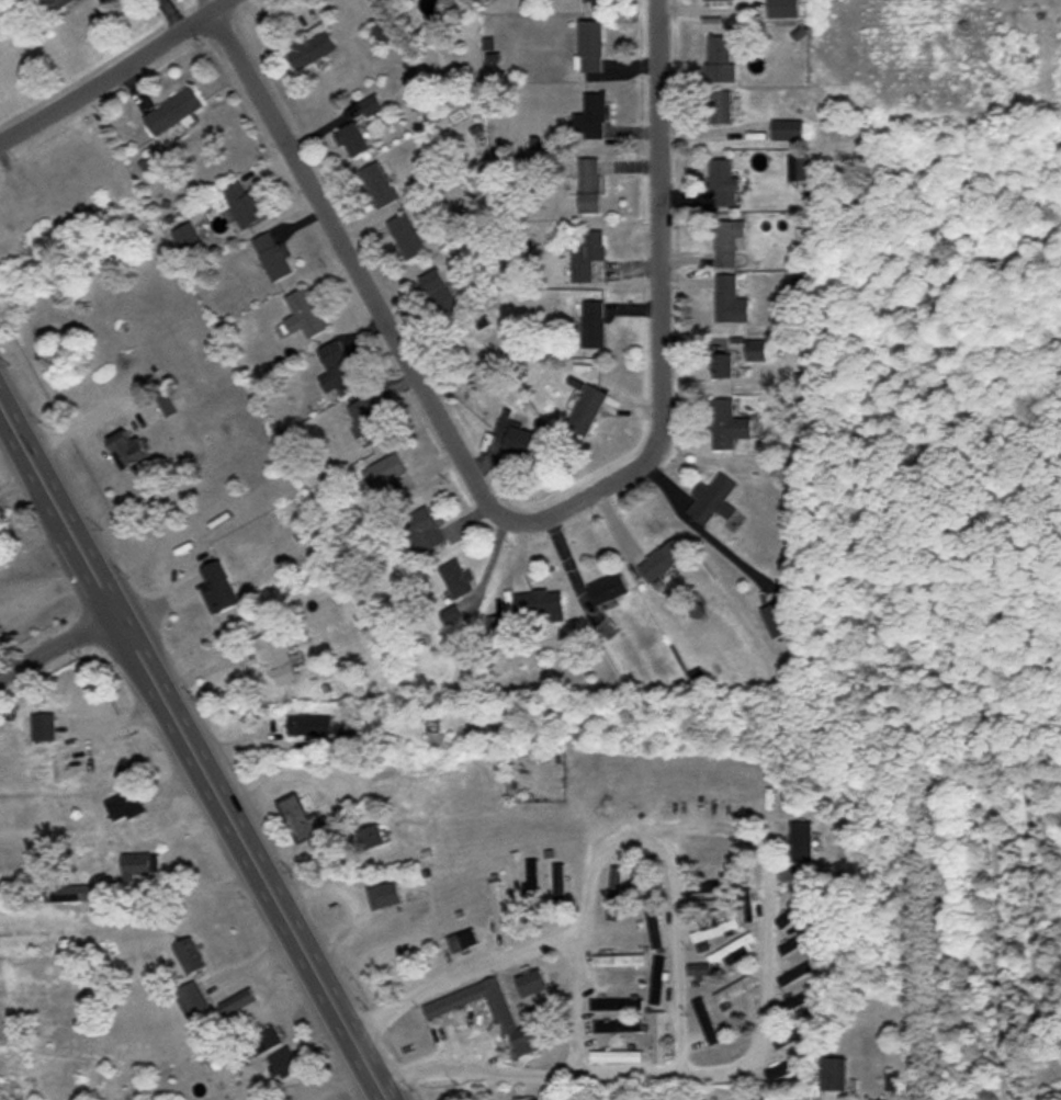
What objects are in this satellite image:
building: (595, 0)
building: (718, 2)
building: (59, 4)
building: (782, 9)
road: (172, 14)
building: (385, 34)
building: (591, 46)
building: (312, 48)
building: (720, 58)
road: (114, 69)
building: (719, 106)
building: (173, 110)
building: (592, 115)
building: (787, 129)
building: (353, 140)
building: (798, 168)
building: (722, 182)
building: (590, 184)
building: (379, 185)
building: (244, 205)
building: (406, 236)
building: (188, 237)
building: (727, 241)
building: (586, 254)
building: (273, 256)
road: (357, 270)
building: (441, 295)
building: (729, 300)
road: (662, 307)
building: (304, 315)
building: (591, 325)
building: (756, 351)
building: (722, 365)
building: (338, 370)
building: (587, 409)
building: (366, 421)
building: (727, 426)
building: (517, 439)
building: (131, 452)
building: (388, 477)
building: (714, 501)
building: (421, 532)
building: (663, 559)
building: (456, 579)
building: (218, 588)
building: (608, 589)
building: (539, 603)
building: (779, 620)
building: (497, 630)
road: (58, 646)
building: (278, 657)
building: (43, 726)
building: (309, 726)
road: (194, 751)
building: (125, 805)
building: (301, 819)
building: (371, 838)
building: (801, 840)
building: (720, 861)
building: (138, 865)
building: (532, 885)
building: (710, 887)
building: (560, 889)
building: (646, 889)
building: (384, 896)
building: (747, 905)
building: (712, 906)
road: (765, 906)
building: (498, 907)
building: (794, 911)
building: (654, 927)
building: (715, 931)
building: (463, 940)
building: (795, 944)
building: (82, 952)
road: (673, 952)
building: (190, 956)
building: (620, 961)
road: (579, 964)
road: (460, 972)
building: (697, 973)
building: (793, 975)
building: (657, 982)
building: (532, 984)
building: (617, 984)
building: (734, 989)
building: (192, 999)
building: (238, 1003)
building: (616, 1006)
building: (493, 1013)
building: (706, 1022)
building: (618, 1027)
building: (794, 1036)
building: (659, 1039)
building: (267, 1041)
building: (617, 1057)
building: (282, 1062)
building: (789, 1068)
road: (475, 1070)
road: (713, 1070)
building: (834, 1074)
building: (891, 1082)
road: (383, 1098)
building: (754, 1098)

